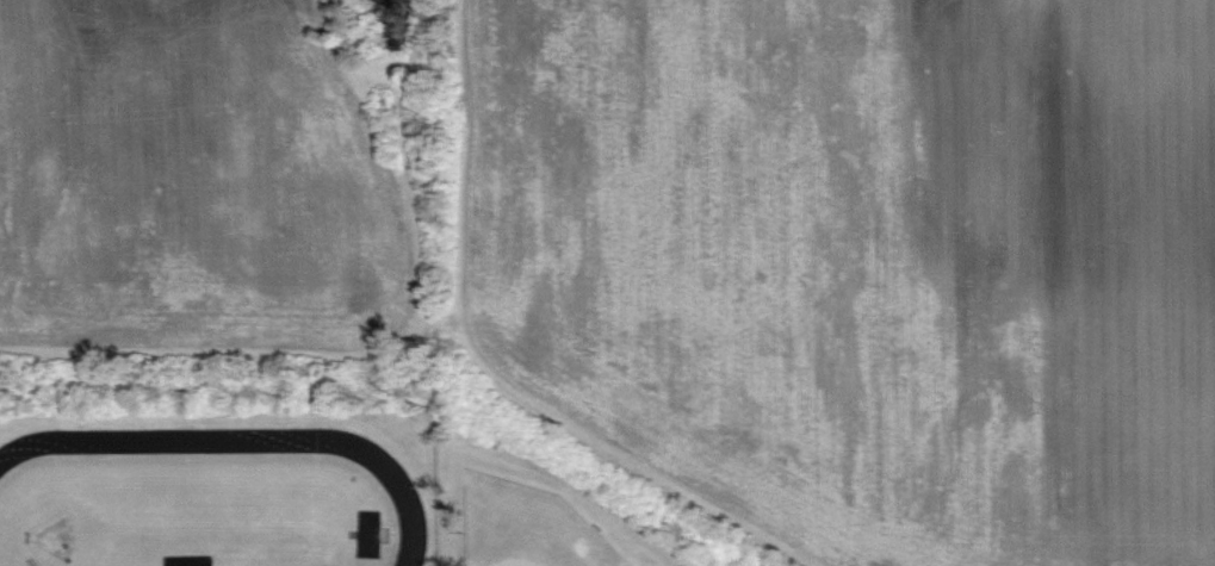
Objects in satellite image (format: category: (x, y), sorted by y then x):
building: (382, 105)
track: (403, 500)

